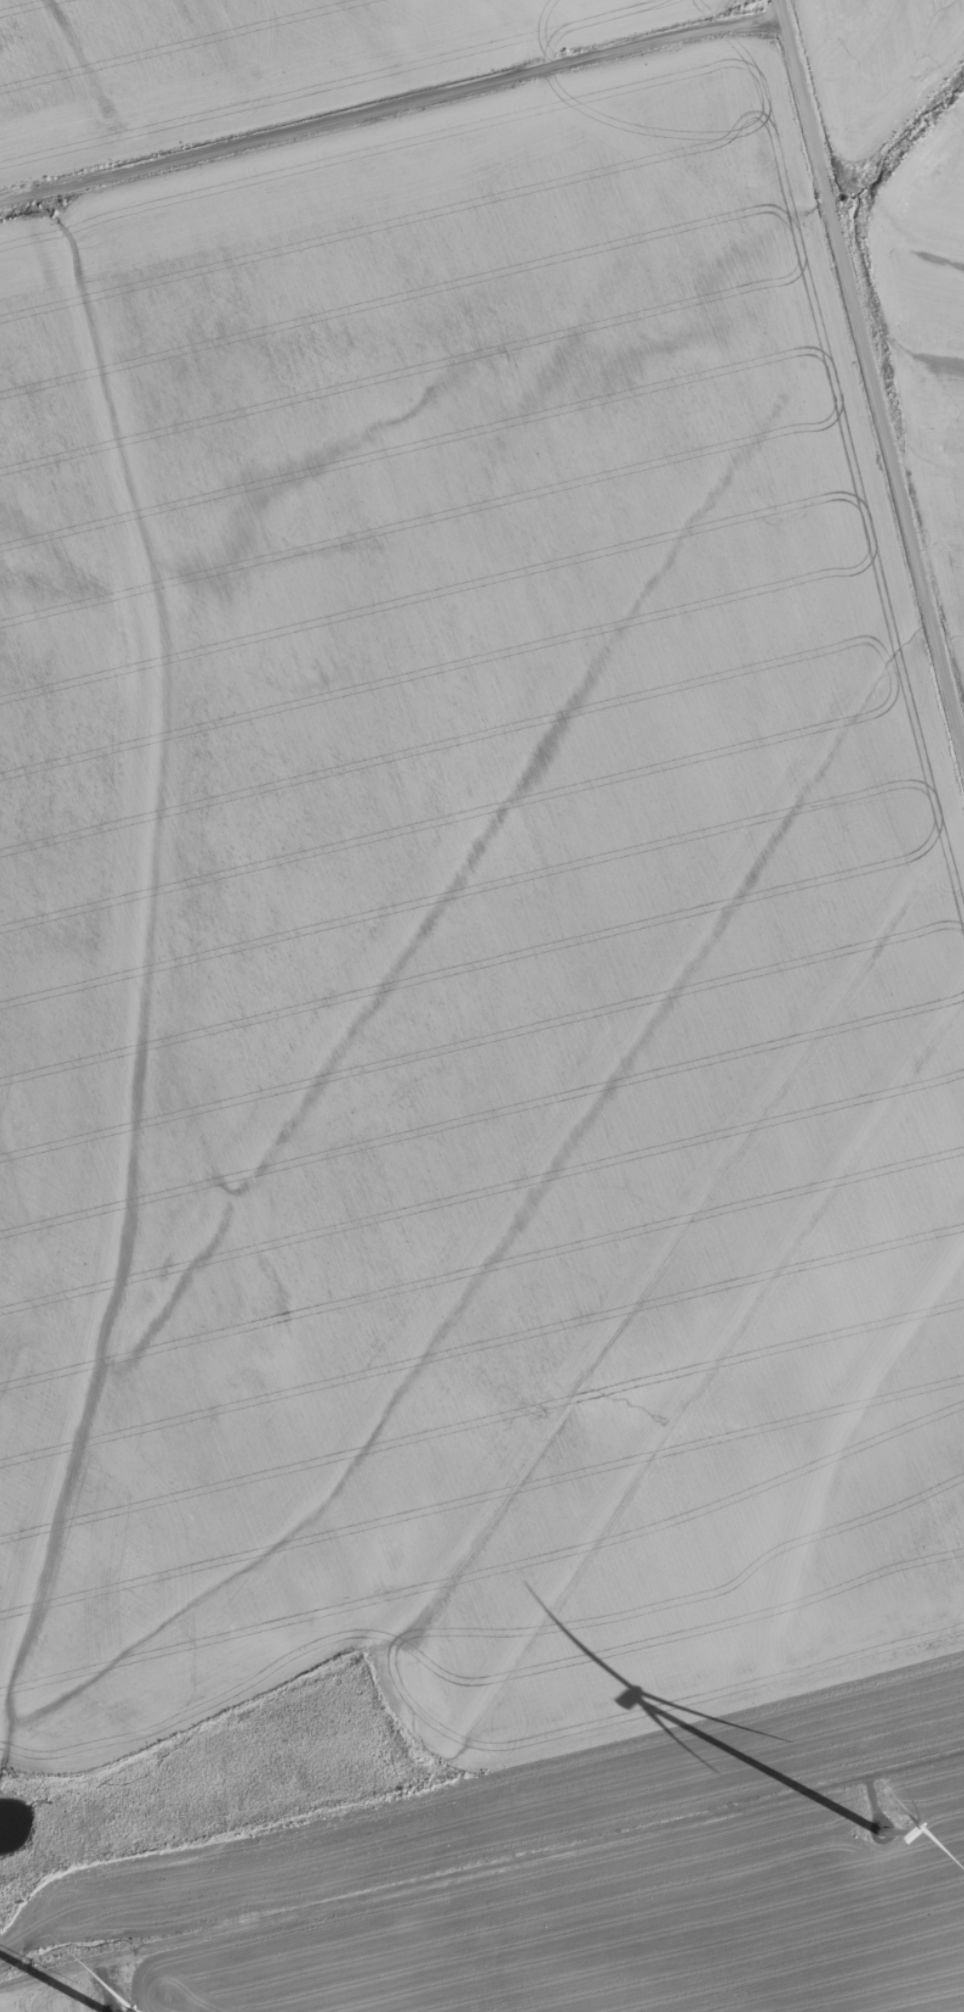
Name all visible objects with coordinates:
road: (390, 104)
road: (871, 375)
wind turbine: (881, 1834)

